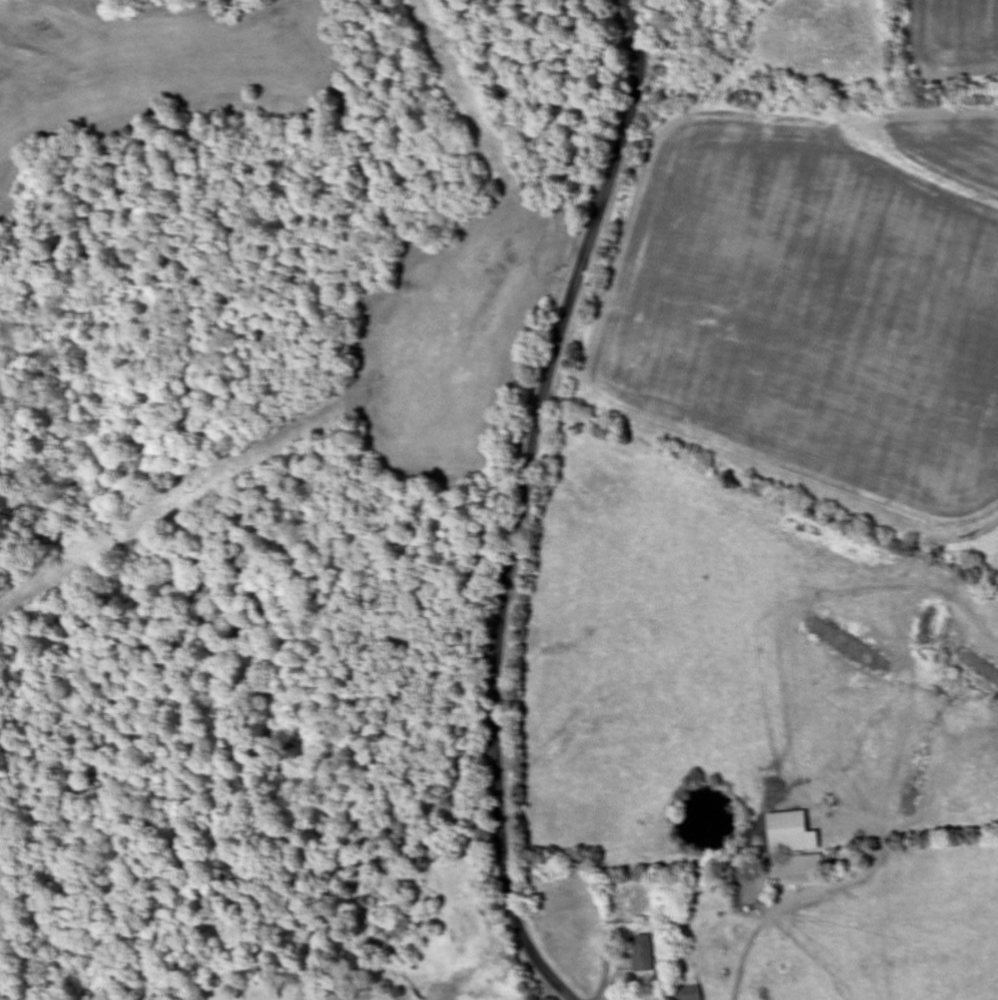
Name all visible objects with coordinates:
road: (806, 142)
road: (522, 504)
building: (790, 833)
building: (797, 871)
building: (642, 954)
building: (687, 993)

